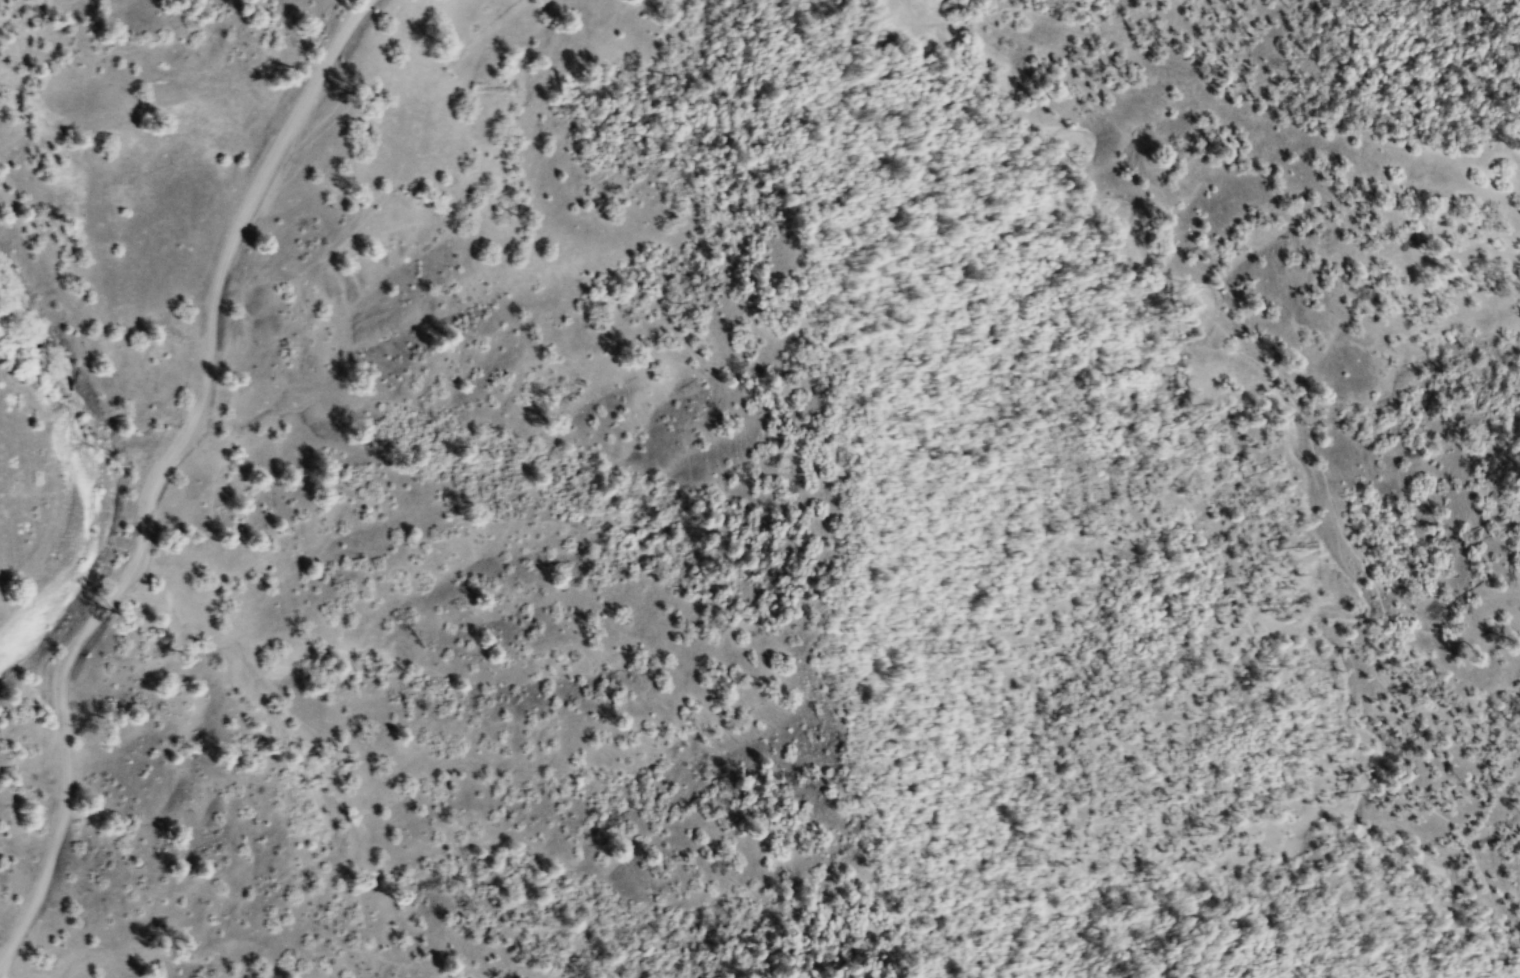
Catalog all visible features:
river: (72, 461)
road: (166, 484)

